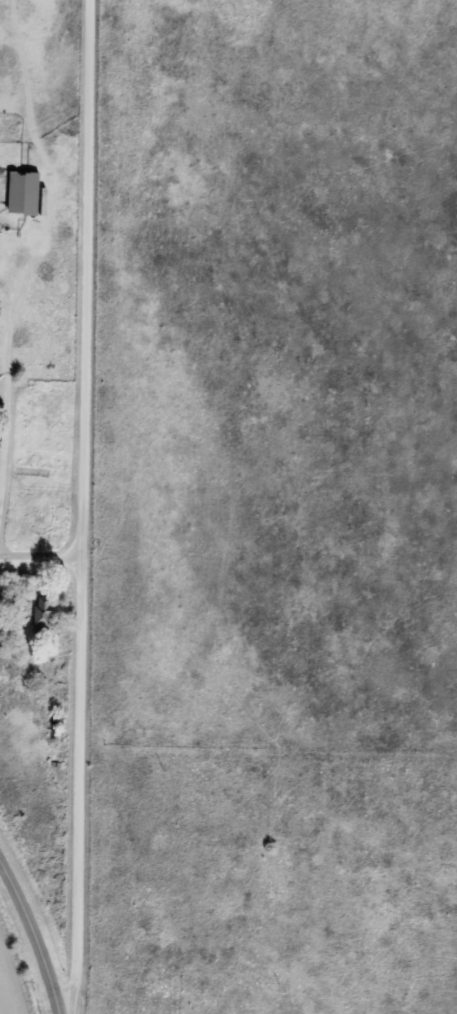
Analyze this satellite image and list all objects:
building: (21, 193)
road: (91, 276)
road: (43, 553)
building: (41, 614)
road: (83, 783)
road: (36, 938)

